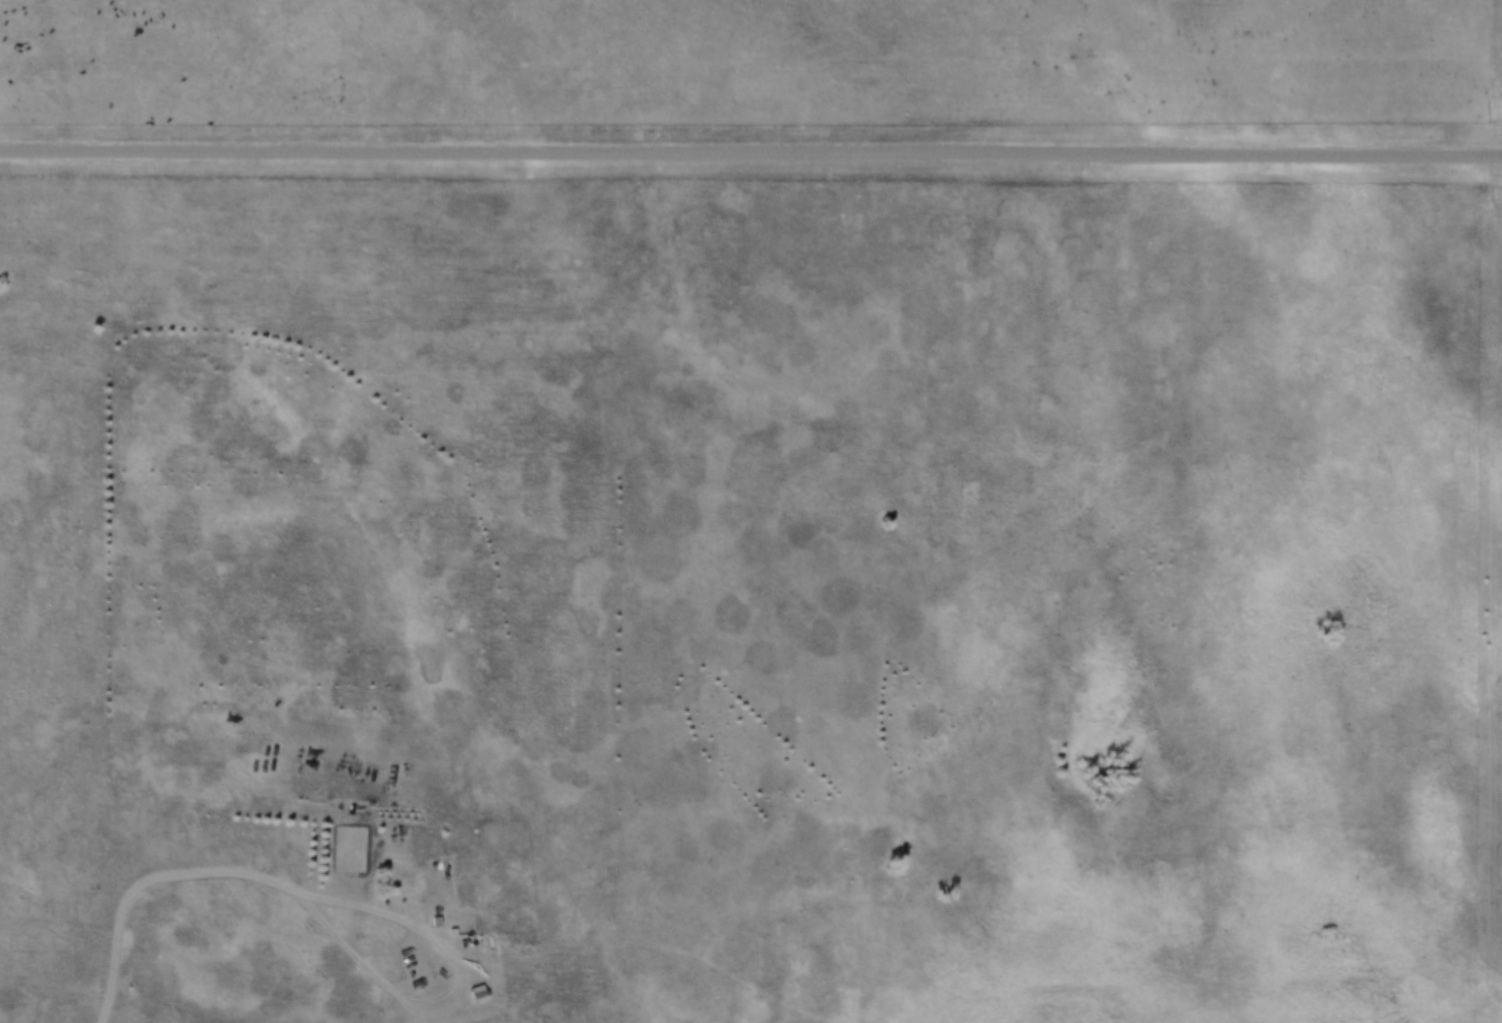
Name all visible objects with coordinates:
road: (751, 148)

